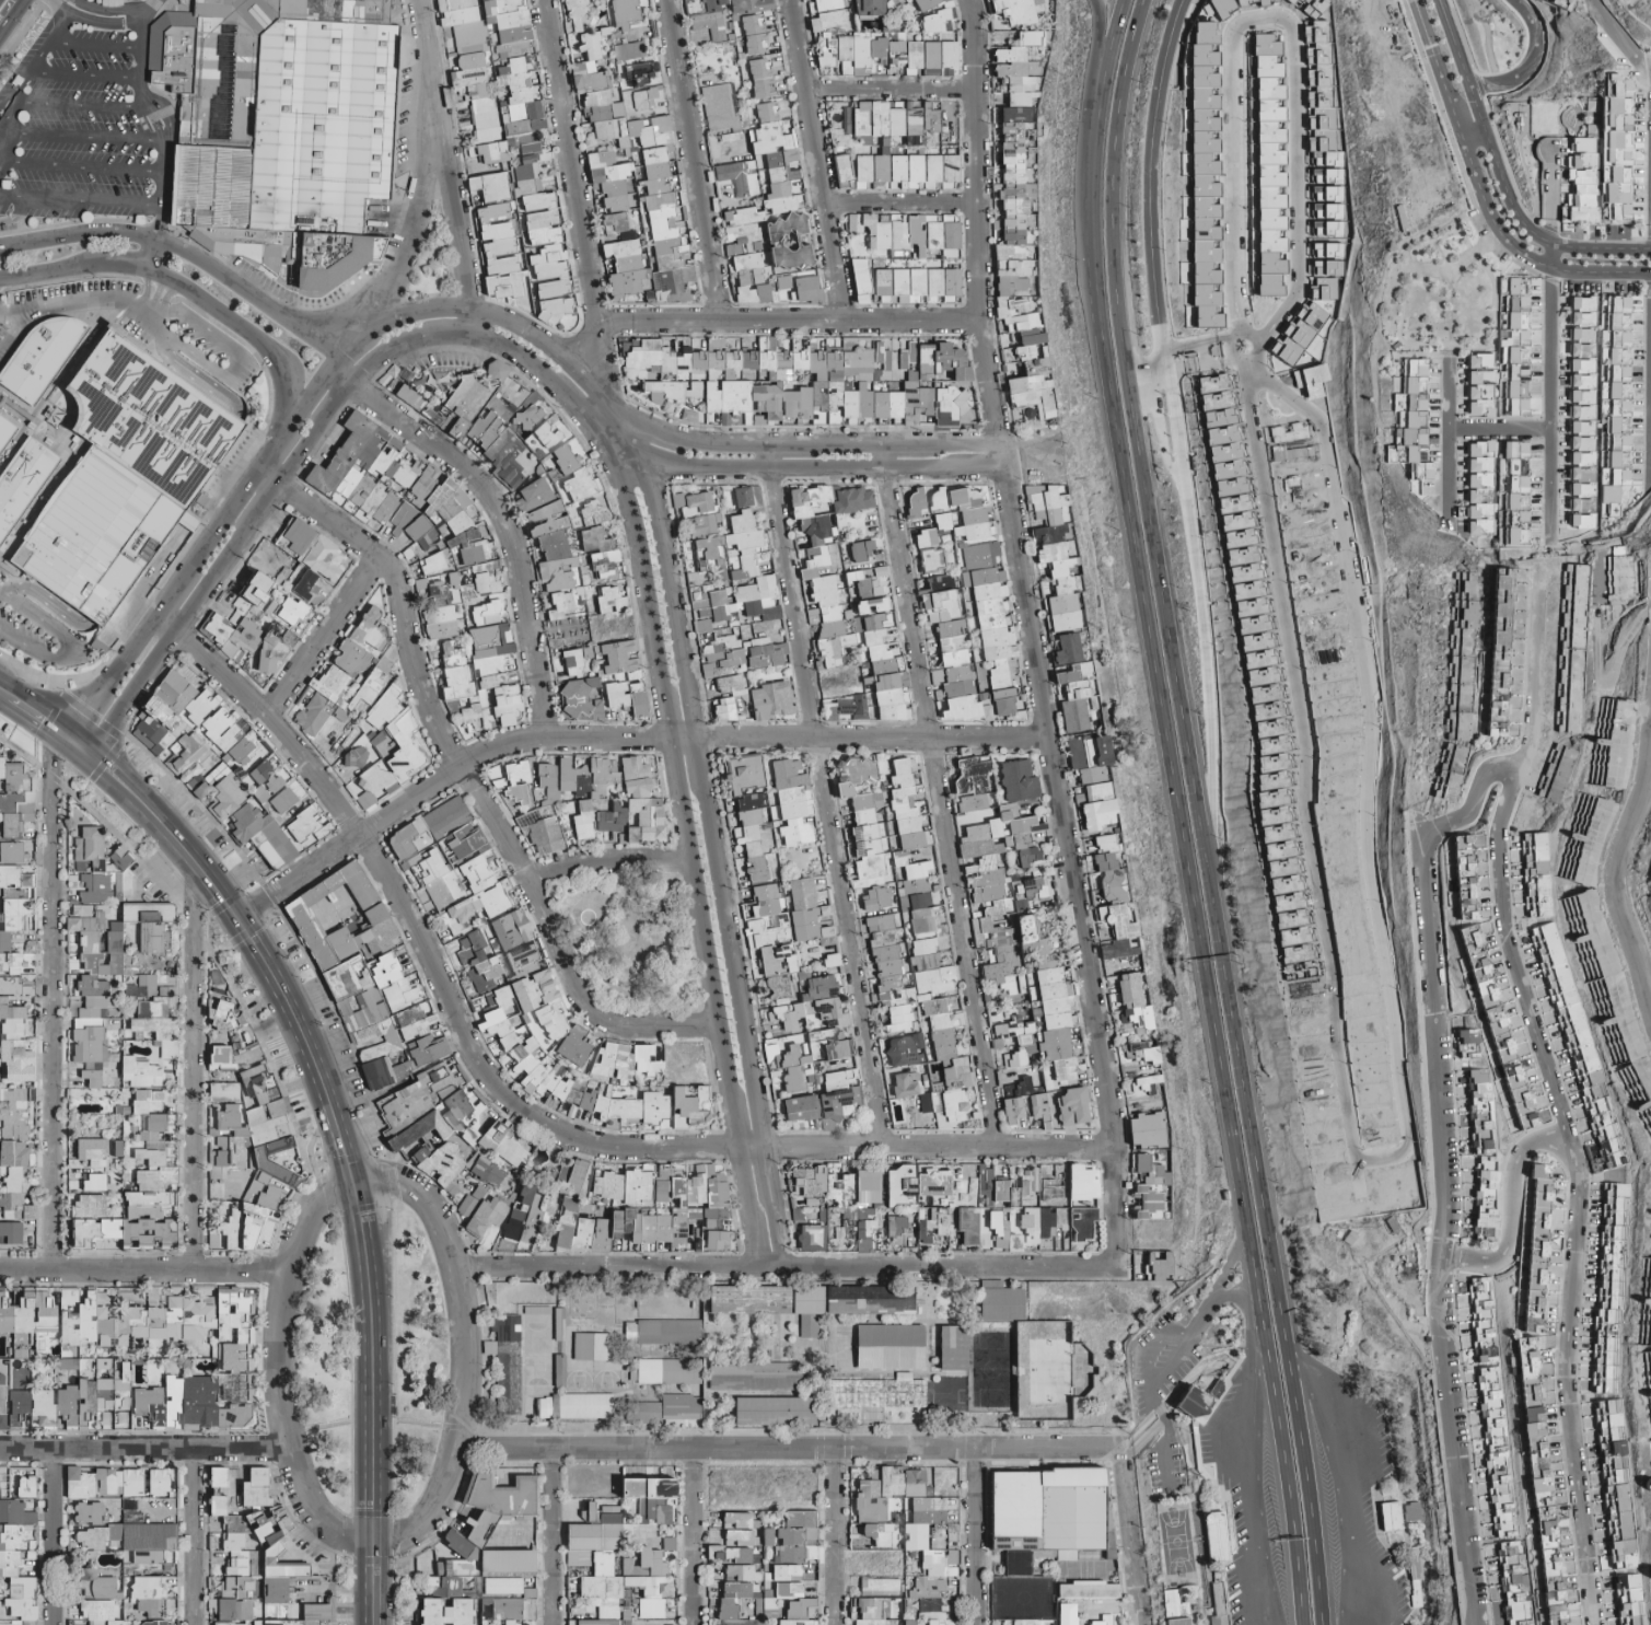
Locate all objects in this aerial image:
building: (1254, 2)
building: (1222, 7)
building: (1310, 7)
building: (868, 8)
building: (1014, 11)
building: (623, 12)
building: (575, 13)
building: (934, 15)
building: (706, 16)
building: (751, 28)
building: (825, 30)
building: (627, 50)
building: (911, 58)
building: (939, 59)
building: (588, 65)
building: (636, 70)
building: (760, 78)
building: (1202, 95)
building: (643, 98)
building: (718, 107)
building: (1321, 107)
building: (930, 117)
parking lot: (88, 120)
building: (869, 123)
building: (280, 128)
building: (508, 153)
building: (1603, 162)
building: (1268, 165)
building: (896, 172)
building: (662, 194)
building: (1202, 208)
building: (1327, 211)
building: (768, 221)
building: (614, 224)
parking lot: (1476, 224)
building: (907, 232)
building: (1020, 234)
parking lot: (1499, 253)
park: (430, 259)
building: (624, 268)
building: (1202, 288)
parking lot: (70, 290)
park: (1441, 292)
building: (1313, 313)
parking lot: (130, 328)
parking lot: (2, 333)
parking lot: (209, 348)
building: (1503, 357)
building: (39, 358)
building: (822, 381)
building: (671, 392)
building: (486, 417)
building: (5, 430)
building: (548, 432)
building: (573, 472)
parking lot: (106, 475)
building: (121, 477)
building: (22, 481)
parking lot: (2, 571)
parking lot: (25, 640)
park: (632, 945)

